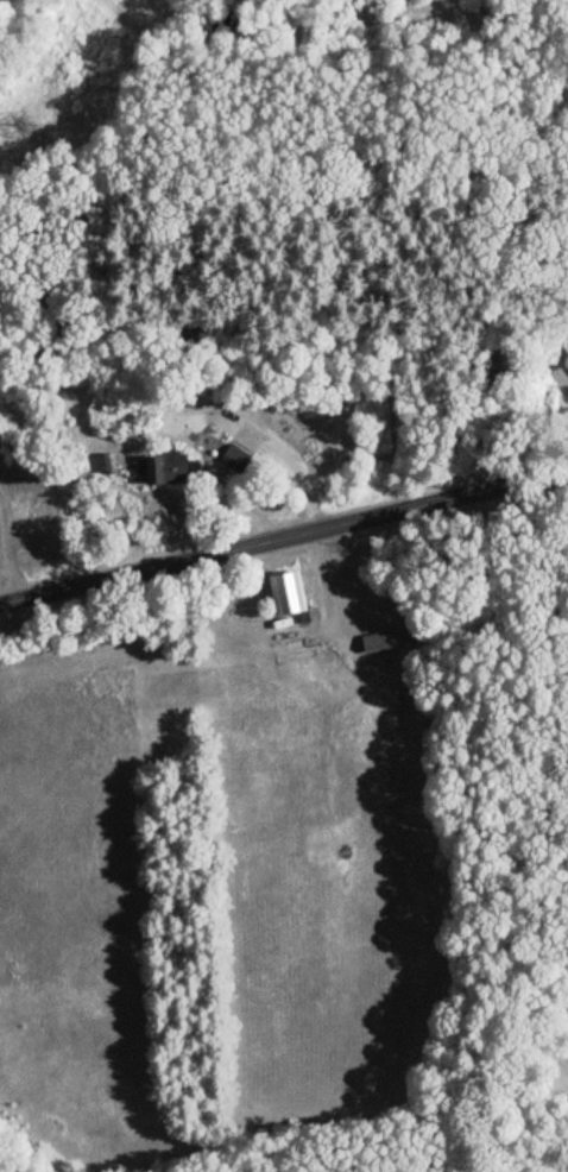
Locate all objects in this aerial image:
power tower: (21, 122)
building: (233, 460)
building: (164, 470)
road: (284, 540)
building: (286, 598)
building: (390, 641)

